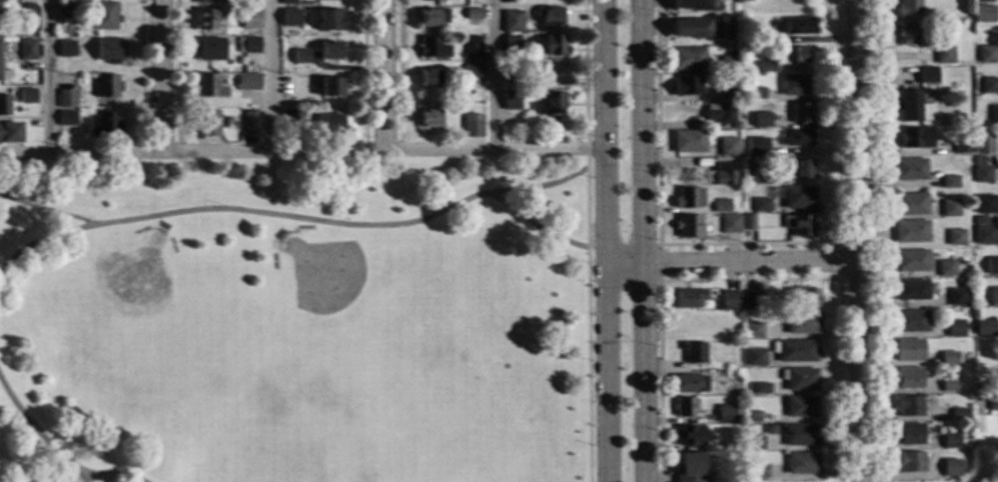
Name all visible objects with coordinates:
building: (426, 0)
building: (982, 1)
building: (210, 2)
building: (287, 3)
building: (693, 5)
building: (907, 8)
building: (64, 10)
building: (473, 14)
building: (983, 14)
building: (103, 16)
building: (550, 16)
building: (290, 18)
building: (432, 18)
building: (250, 19)
building: (204, 20)
building: (330, 20)
building: (512, 22)
building: (794, 26)
building: (692, 28)
building: (731, 30)
building: (906, 35)
building: (719, 36)
building: (759, 36)
building: (511, 43)
building: (247, 46)
building: (554, 46)
building: (471, 47)
building: (431, 48)
building: (65, 49)
building: (209, 49)
building: (25, 50)
building: (107, 50)
building: (330, 51)
building: (796, 54)
building: (943, 55)
building: (987, 55)
building: (300, 57)
building: (688, 59)
building: (508, 60)
building: (728, 64)
building: (766, 67)
building: (471, 71)
building: (510, 74)
building: (551, 74)
building: (4, 75)
road: (362, 75)
road: (381, 75)
road: (398, 75)
road: (493, 75)
road: (139, 76)
road: (160, 76)
road: (174, 76)
road: (267, 76)
building: (927, 76)
road: (46, 77)
building: (428, 78)
building: (247, 82)
building: (795, 85)
building: (105, 86)
building: (207, 86)
building: (686, 86)
building: (988, 86)
building: (329, 87)
building: (727, 91)
building: (755, 93)
building: (26, 96)
building: (65, 99)
building: (511, 101)
building: (551, 104)
building: (3, 105)
building: (910, 106)
building: (801, 113)
building: (721, 114)
building: (993, 115)
building: (428, 118)
building: (65, 119)
building: (288, 119)
building: (761, 120)
building: (250, 123)
building: (330, 124)
building: (103, 125)
building: (207, 125)
building: (471, 126)
building: (12, 133)
building: (798, 138)
building: (915, 138)
building: (688, 142)
building: (982, 143)
building: (962, 146)
building: (728, 147)
building: (757, 147)
road: (304, 151)
building: (798, 169)
building: (909, 170)
building: (722, 174)
building: (983, 175)
building: (761, 177)
building: (949, 182)
building: (799, 198)
building: (688, 199)
building: (909, 204)
building: (985, 204)
building: (762, 205)
building: (721, 206)
building: (950, 208)
road: (50, 211)
building: (747, 222)
road: (533, 224)
building: (730, 224)
building: (799, 225)
road: (348, 227)
building: (688, 227)
building: (911, 232)
building: (985, 235)
building: (955, 238)
road: (586, 240)
road: (608, 240)
road: (645, 241)
road: (856, 241)
road: (873, 241)
road: (44, 242)
road: (746, 245)
road: (837, 261)
building: (912, 261)
road: (732, 263)
road: (659, 264)
building: (992, 266)
building: (945, 269)
park: (323, 273)
park: (138, 277)
road: (750, 281)
building: (911, 290)
building: (956, 297)
building: (994, 297)
building: (688, 298)
building: (800, 299)
building: (729, 301)
building: (751, 301)
building: (745, 316)
park: (298, 321)
building: (911, 322)
building: (702, 323)
building: (803, 324)
building: (955, 328)
building: (984, 328)
building: (753, 330)
building: (908, 350)
building: (796, 351)
building: (694, 354)
building: (756, 358)
building: (948, 358)
building: (724, 360)
building: (733, 375)
building: (908, 378)
building: (799, 379)
building: (690, 384)
building: (949, 385)
building: (980, 386)
building: (759, 389)
building: (992, 402)
building: (908, 406)
building: (801, 407)
building: (687, 408)
building: (728, 414)
building: (959, 415)
building: (751, 416)
road: (38, 433)
building: (800, 435)
building: (909, 435)
building: (689, 436)
building: (950, 441)
building: (725, 443)
building: (753, 443)
building: (801, 463)
building: (909, 463)
park: (985, 467)
building: (689, 468)
building: (950, 468)
building: (759, 472)
road: (985, 476)
road: (109, 477)

